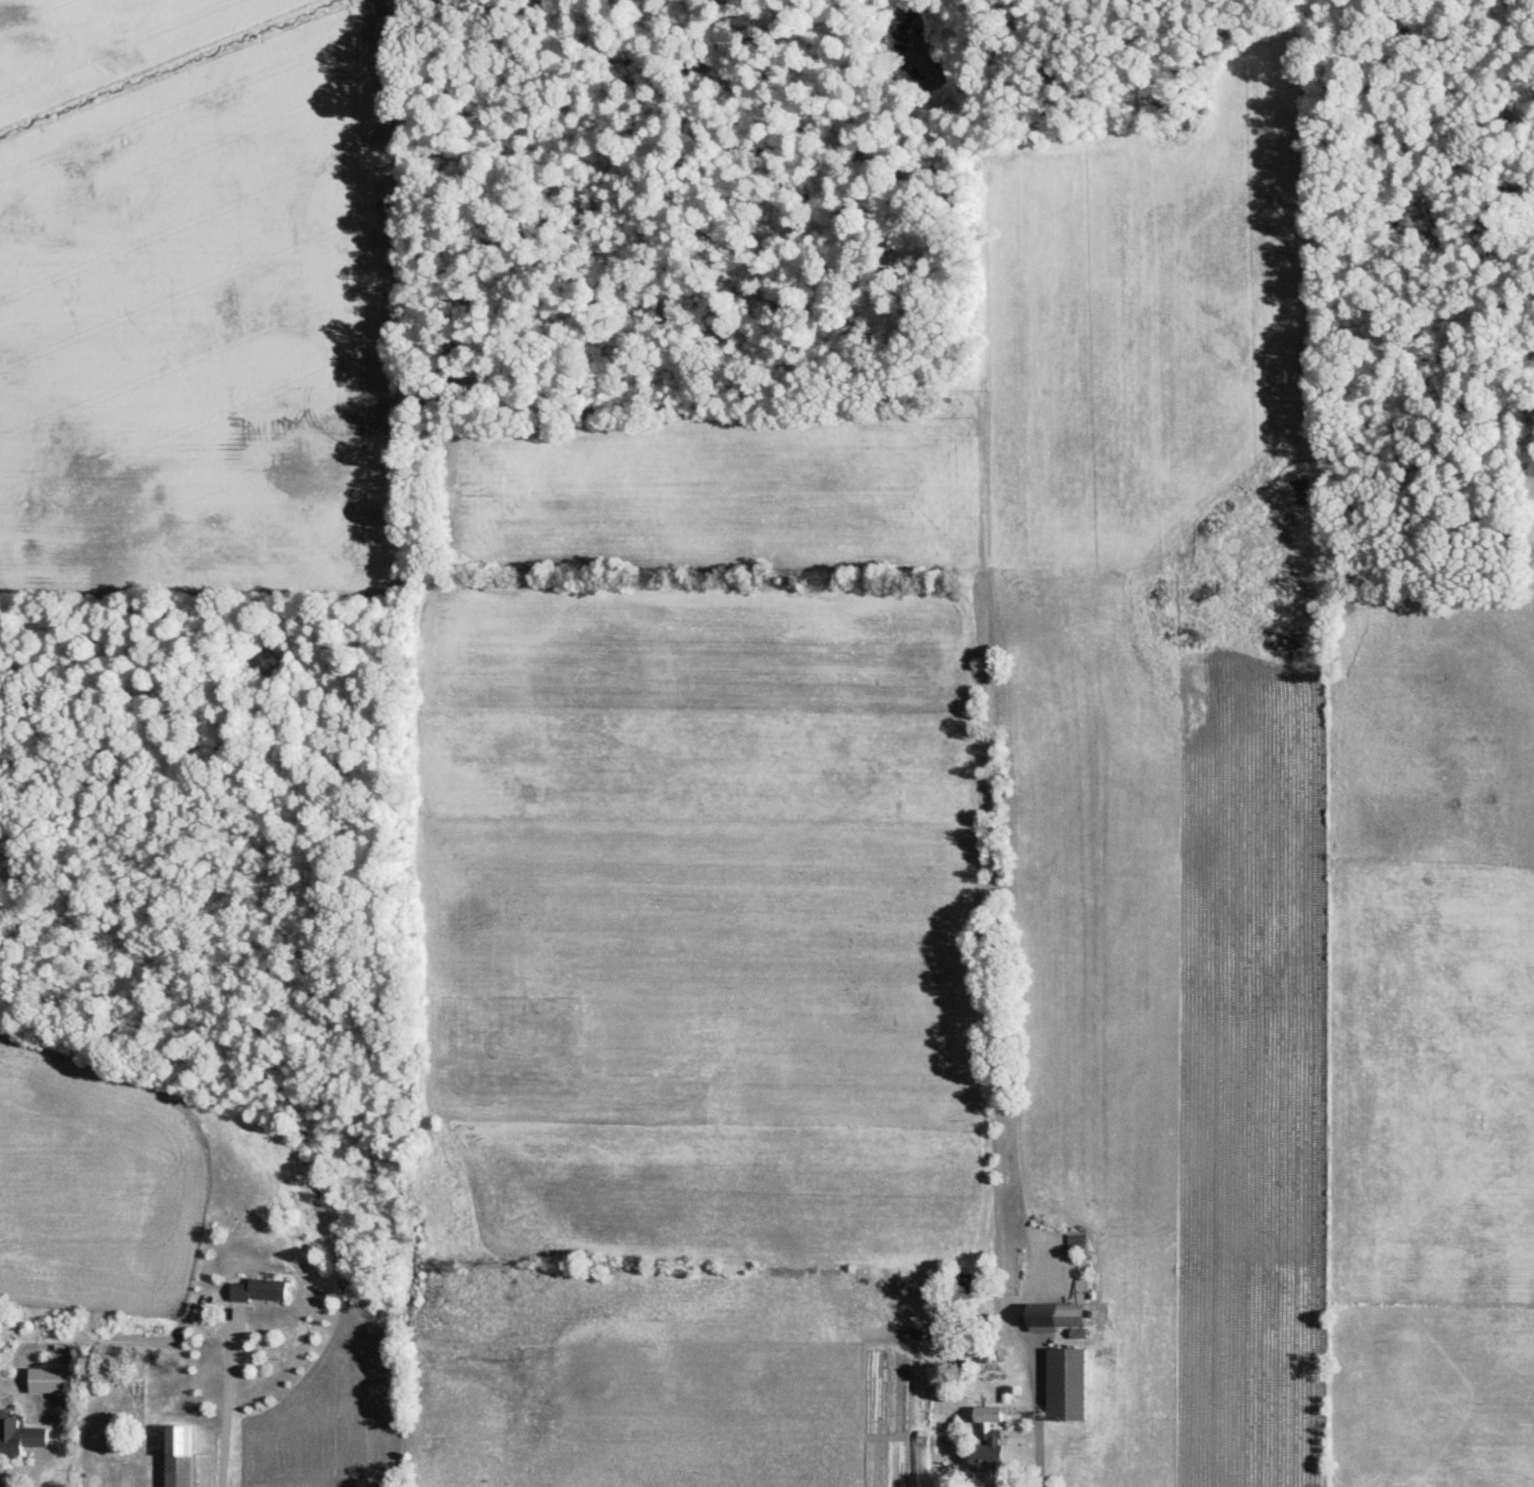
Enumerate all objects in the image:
building: (1074, 1245)
building: (256, 1290)
building: (1052, 1316)
building: (1059, 1367)
building: (44, 1380)
building: (993, 1392)
road: (1037, 1398)
road: (223, 1399)
building: (20, 1438)
building: (985, 1453)
building: (176, 1456)

